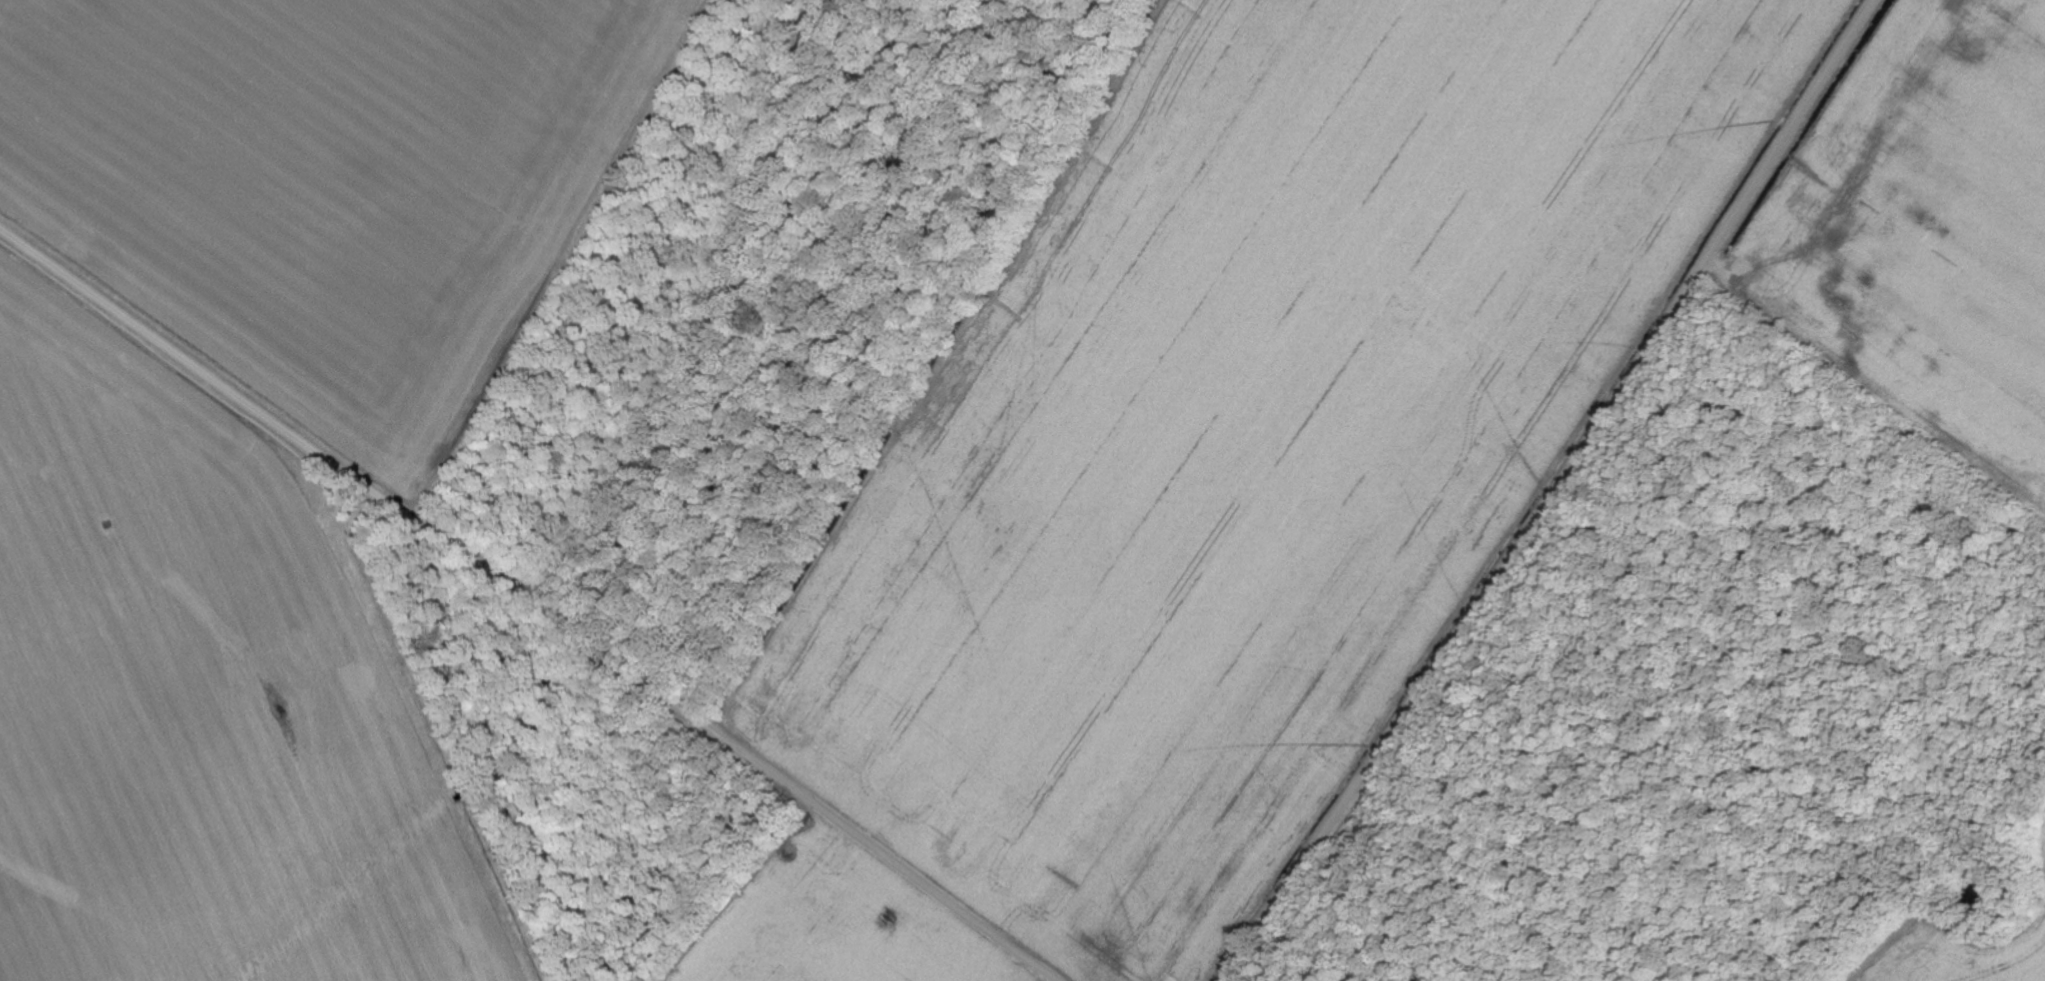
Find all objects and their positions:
road: (1555, 493)
road: (529, 603)

